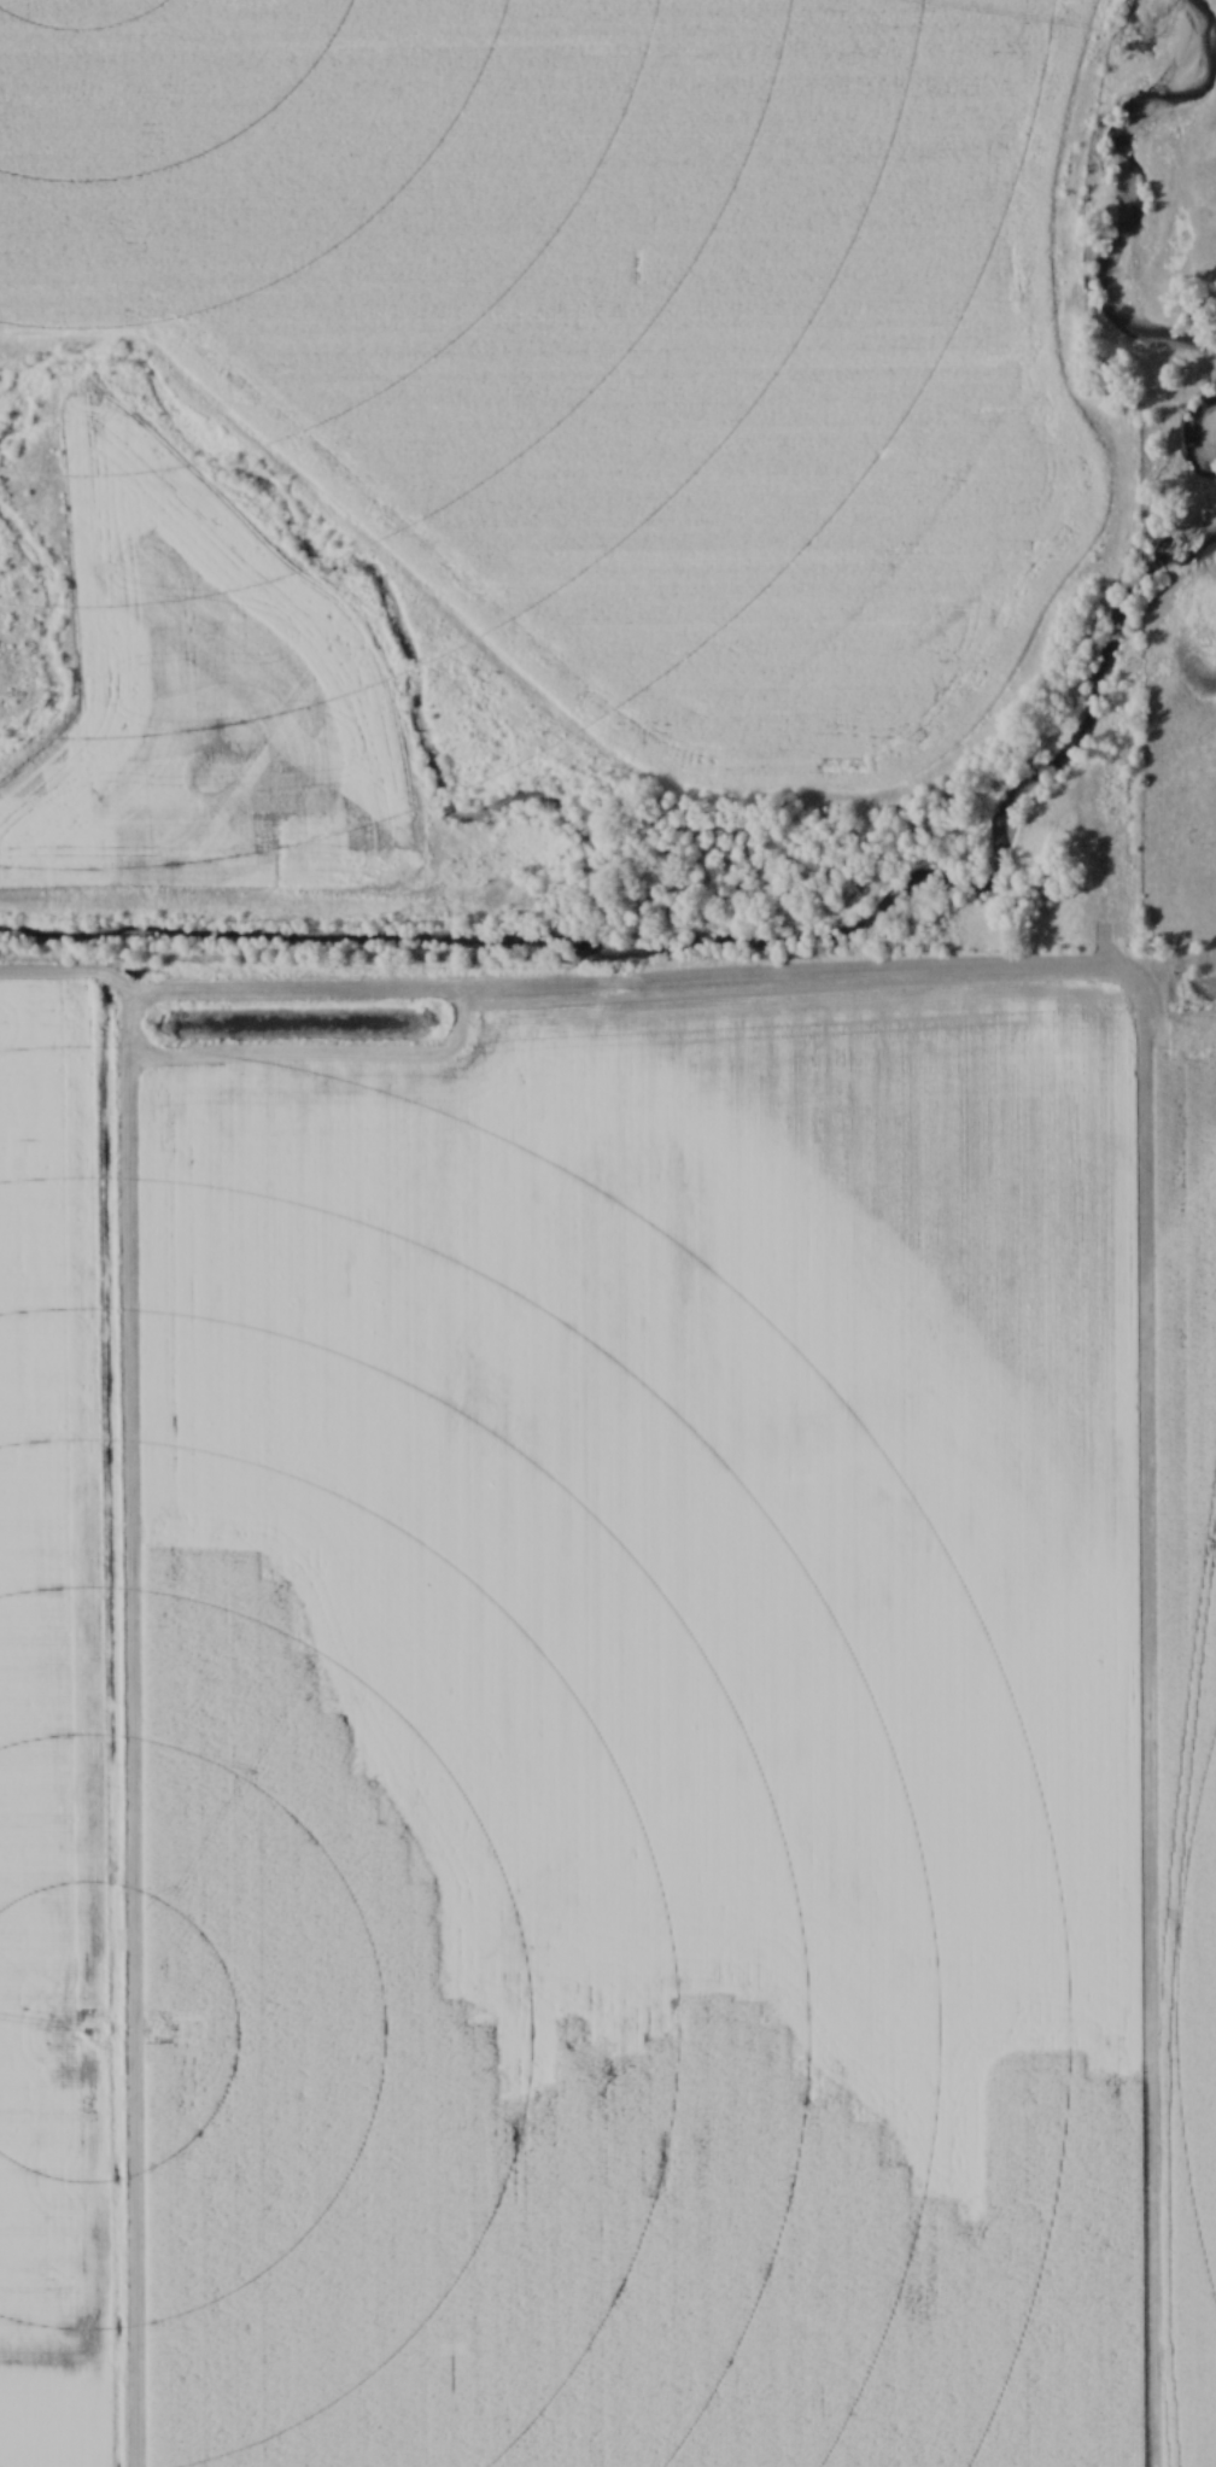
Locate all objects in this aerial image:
river: (1206, 42)
river: (1122, 218)
river: (1200, 432)
river: (723, 934)

